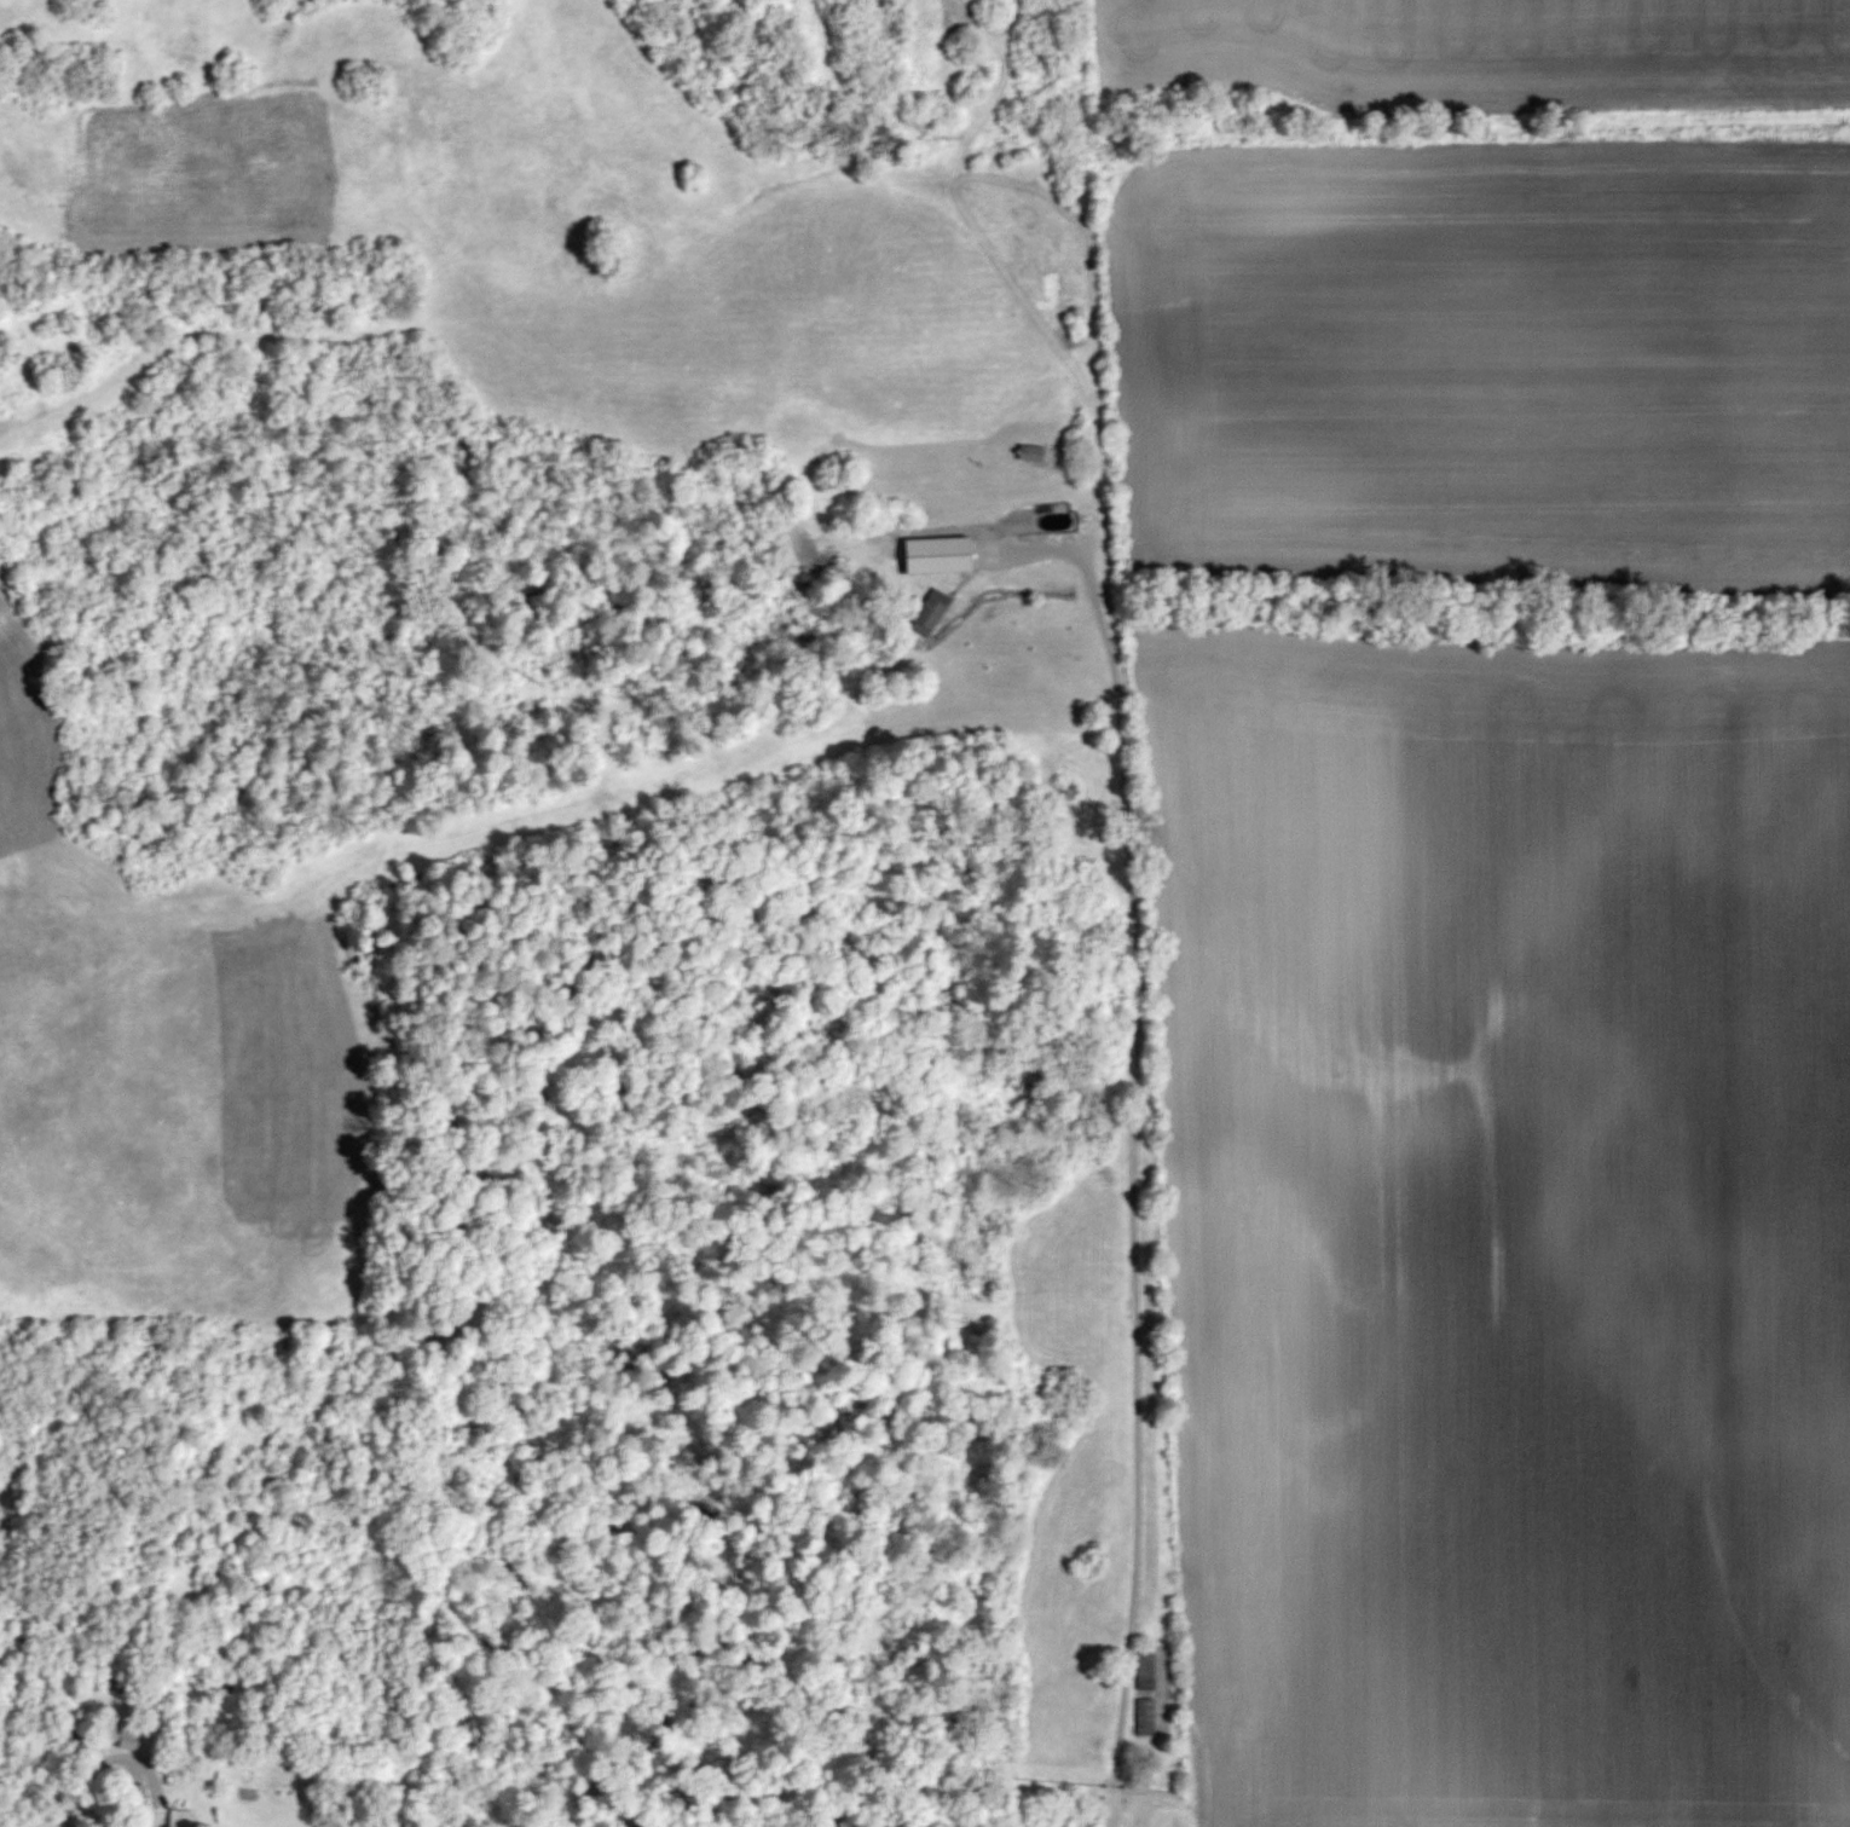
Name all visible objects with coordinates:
building: (1030, 453)
building: (938, 556)
building: (927, 615)
road: (1143, 1145)
building: (1147, 1718)
building: (189, 1819)

